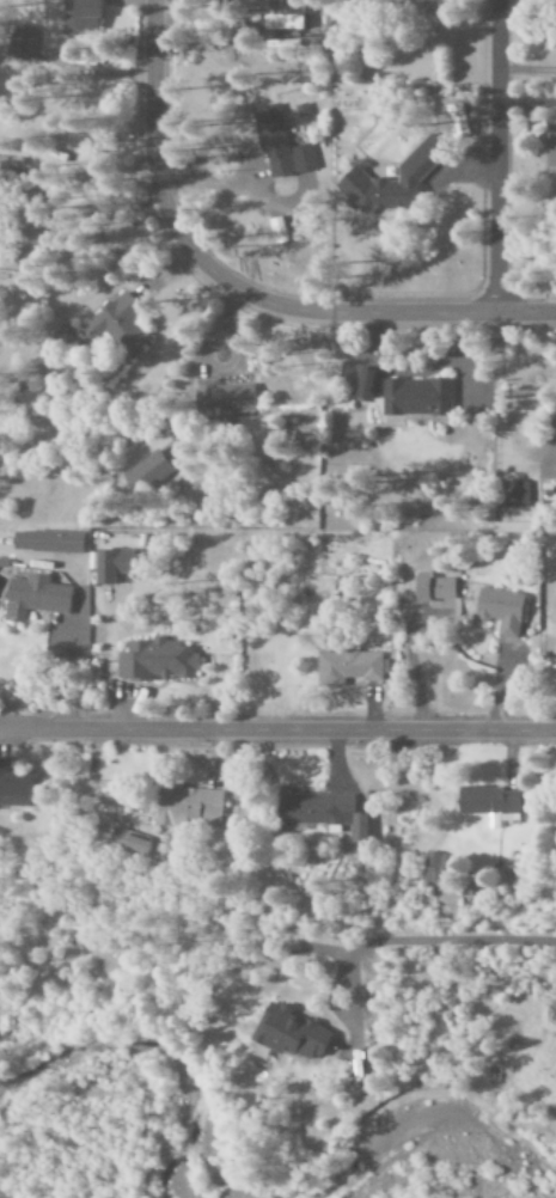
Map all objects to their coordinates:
building: (84, 16)
building: (20, 41)
building: (456, 120)
building: (280, 146)
road: (496, 155)
building: (386, 183)
road: (238, 289)
building: (117, 325)
building: (365, 384)
building: (414, 396)
building: (222, 397)
building: (29, 398)
building: (512, 494)
building: (45, 540)
building: (110, 564)
building: (432, 588)
building: (32, 597)
building: (499, 610)
building: (154, 660)
building: (347, 666)
road: (277, 732)
building: (18, 787)
building: (489, 802)
building: (187, 805)
building: (318, 811)
building: (128, 841)
building: (432, 867)
building: (287, 1033)

